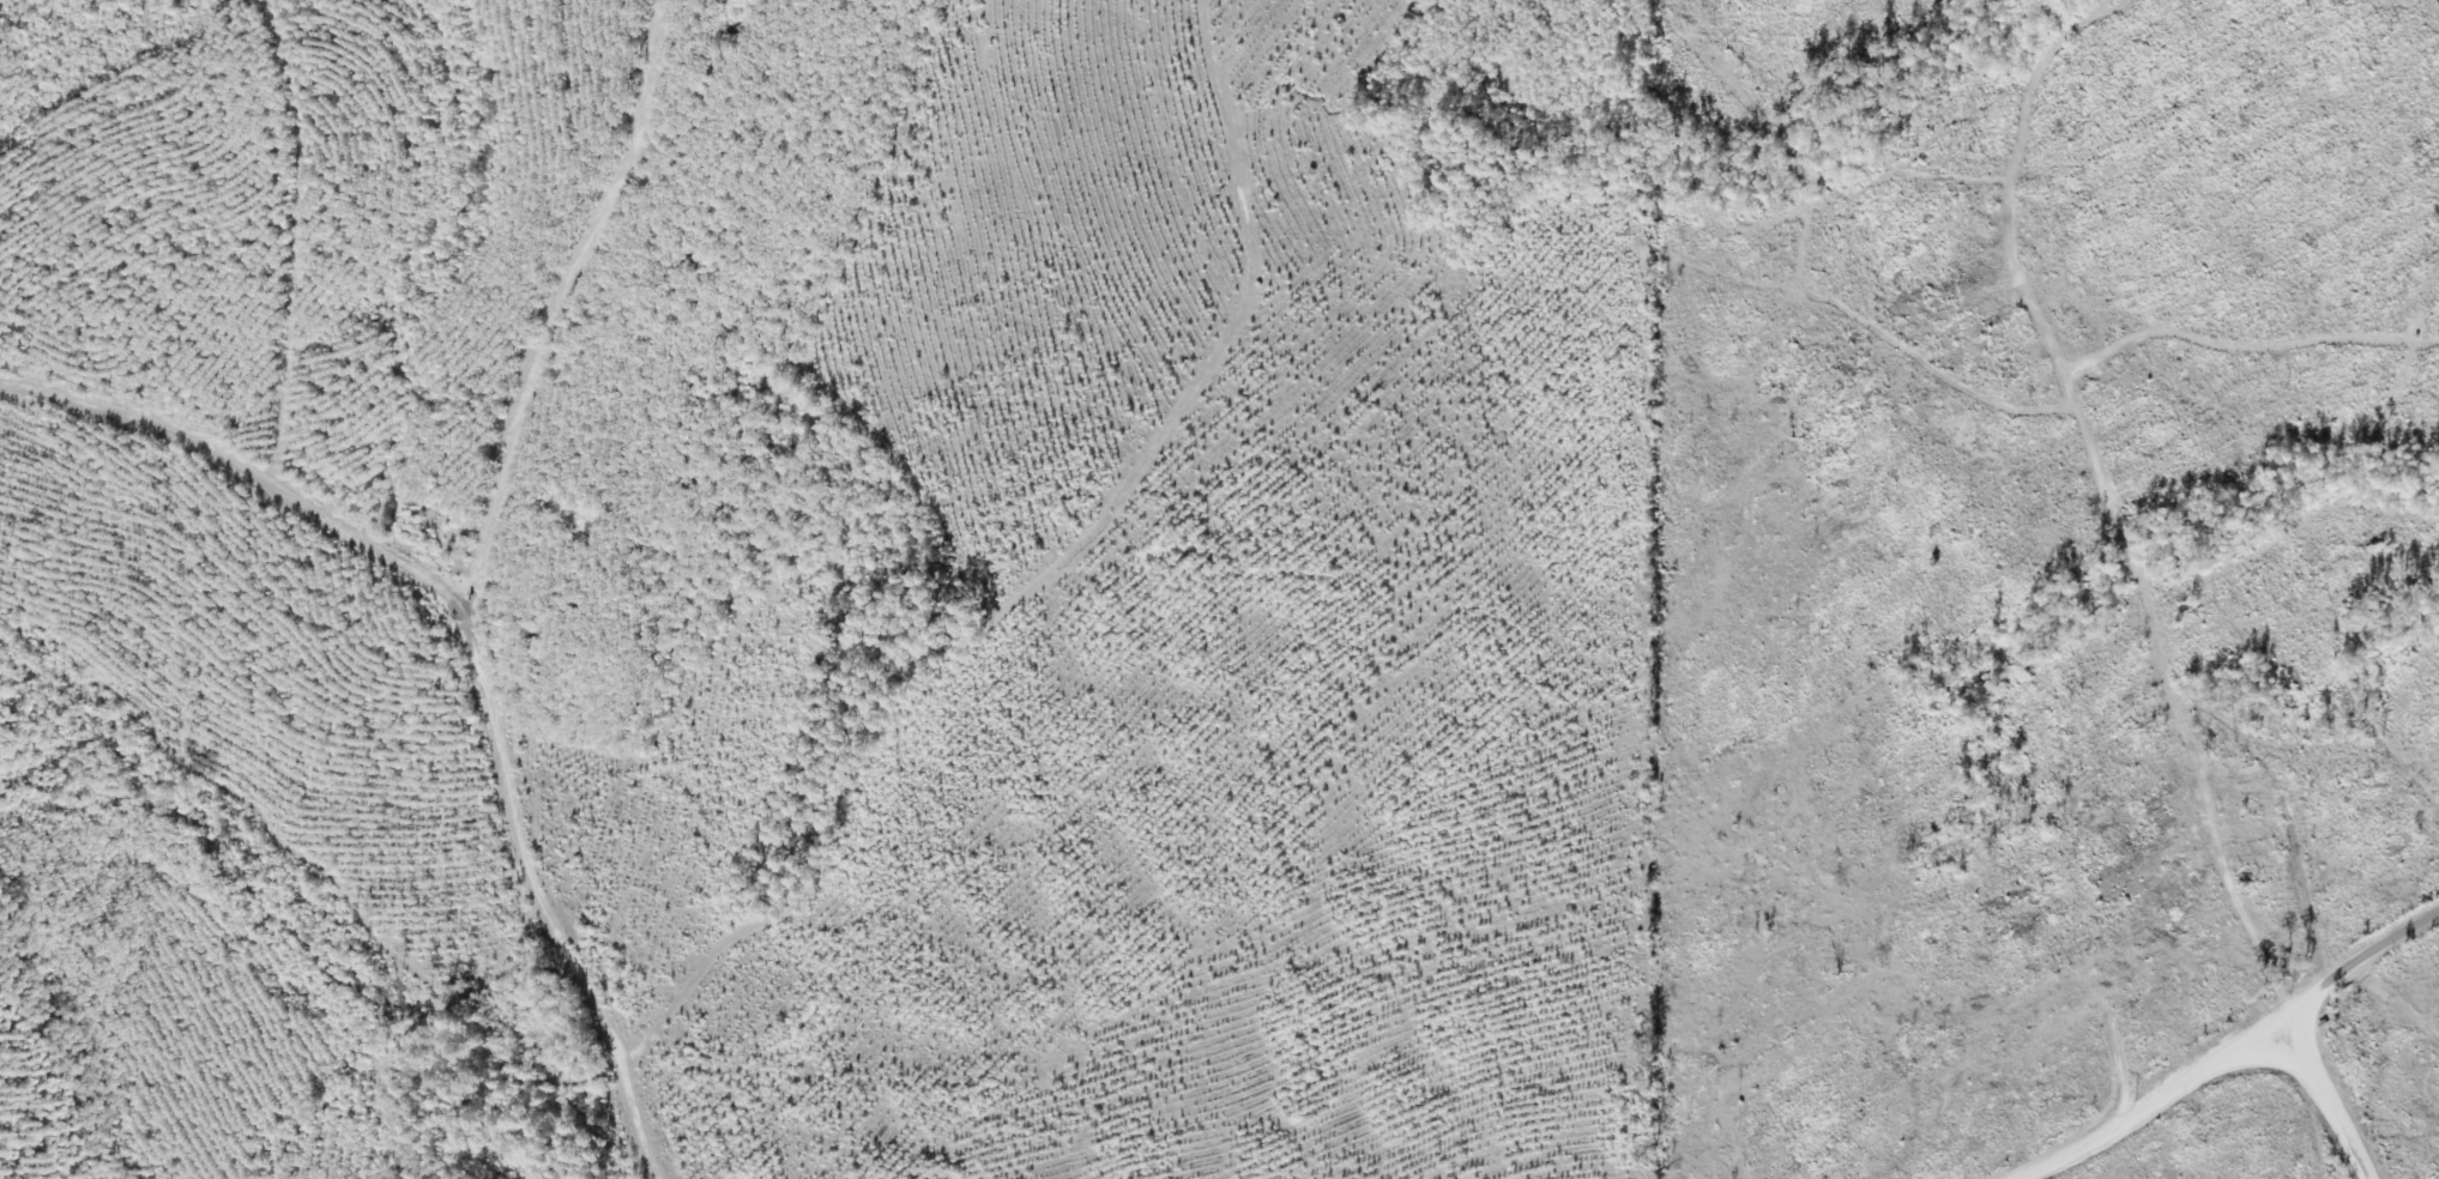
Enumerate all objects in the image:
road: (1786, 77)
road: (2037, 502)
road: (374, 619)
road: (807, 641)
road: (2181, 1046)
road: (2266, 1099)

